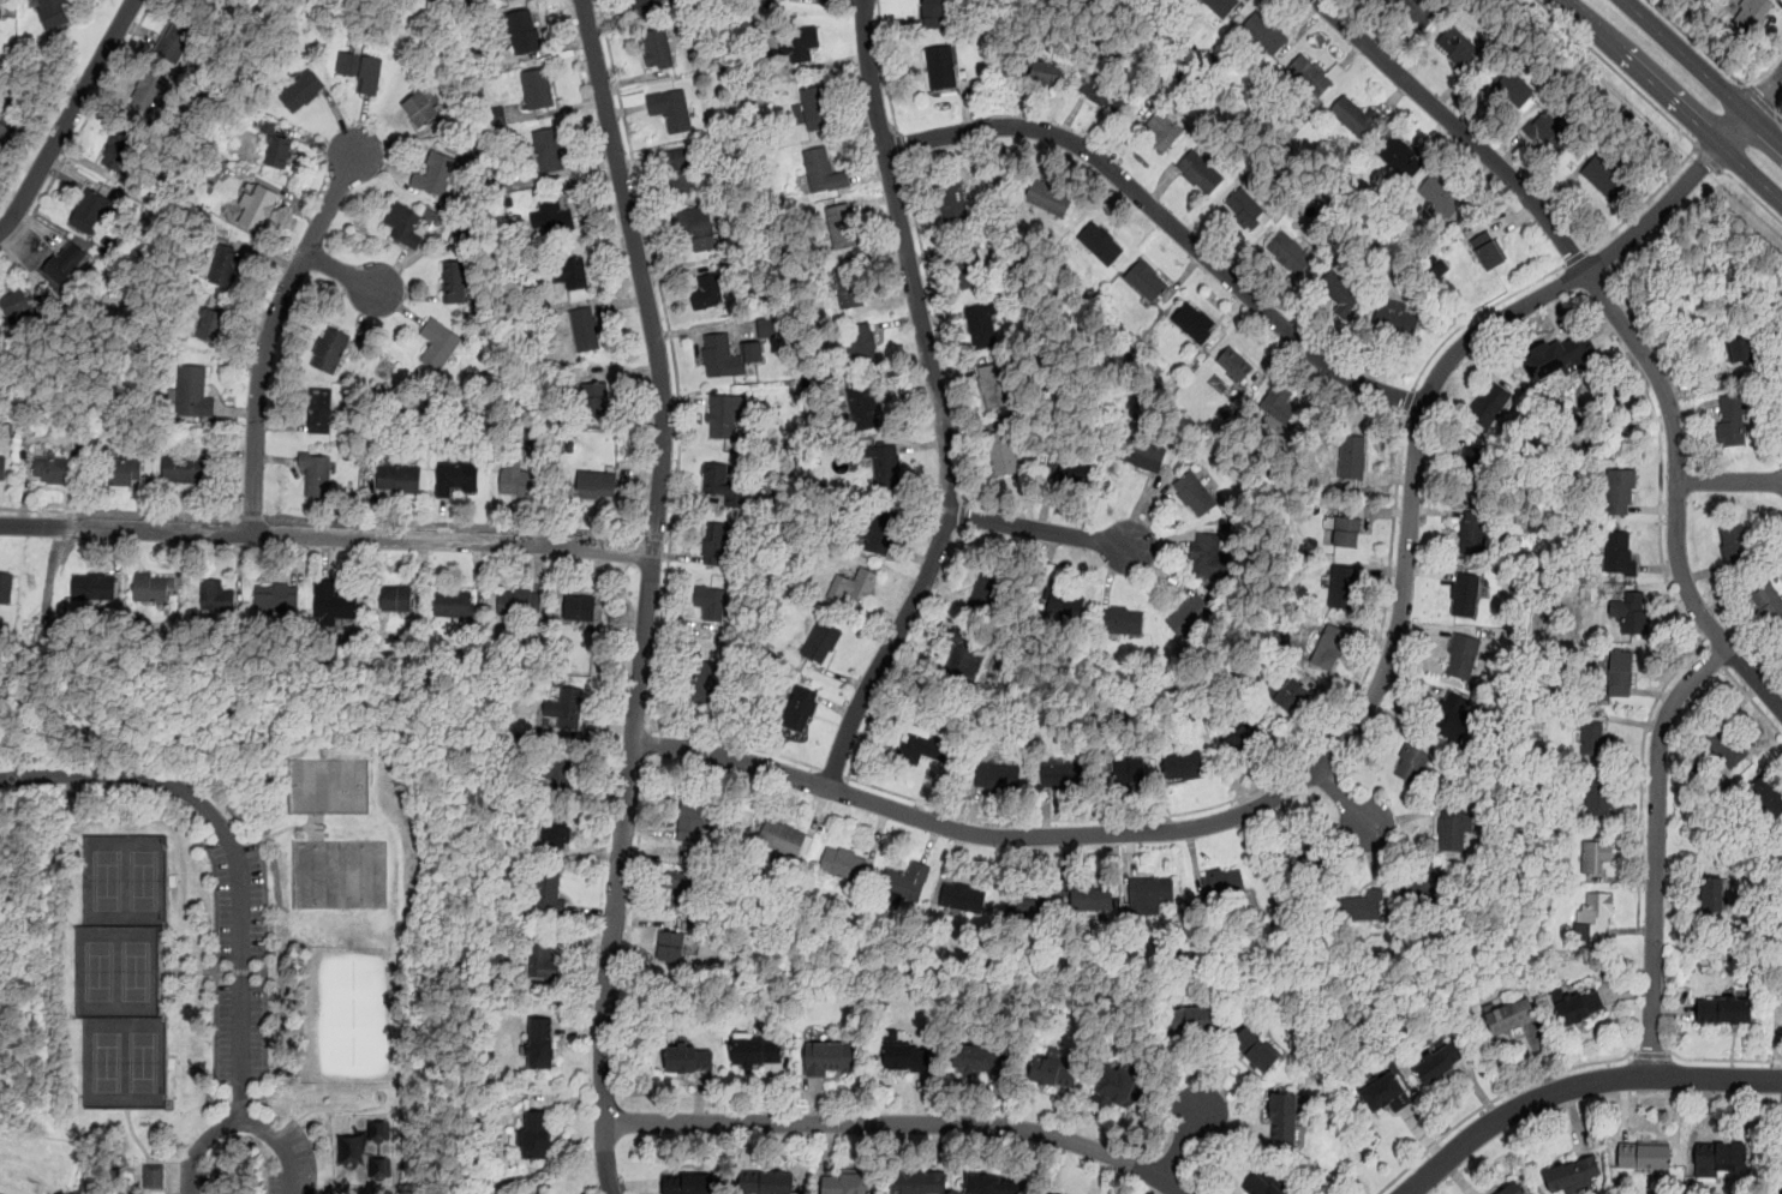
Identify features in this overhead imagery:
building: (208, 2)
building: (1220, 6)
building: (647, 7)
building: (1422, 8)
building: (1, 10)
building: (54, 13)
building: (933, 13)
building: (1752, 13)
building: (524, 32)
building: (1264, 32)
building: (175, 40)
building: (799, 41)
road: (1694, 41)
building: (1458, 44)
building: (658, 47)
building: (941, 66)
road: (884, 67)
road: (1765, 70)
building: (361, 71)
building: (1048, 72)
road: (1703, 72)
building: (1308, 76)
building: (1512, 85)
building: (536, 90)
building: (301, 91)
building: (1105, 91)
building: (149, 95)
road: (1673, 100)
road: (1759, 100)
building: (420, 108)
building: (815, 108)
building: (671, 109)
building: (1138, 114)
building: (1355, 116)
road: (68, 118)
road: (1780, 119)
road: (1674, 125)
building: (269, 127)
road: (82, 130)
building: (1549, 130)
building: (1162, 131)
road: (899, 145)
building: (118, 150)
building: (277, 151)
building: (549, 151)
building: (1399, 152)
road: (1708, 160)
building: (821, 169)
building: (683, 170)
building: (1198, 170)
building: (435, 175)
building: (1604, 178)
road: (1750, 192)
building: (1440, 194)
building: (1050, 198)
building: (952, 199)
building: (257, 209)
building: (89, 210)
building: (1248, 212)
building: (556, 217)
building: (403, 223)
road: (1167, 223)
building: (839, 226)
building: (695, 230)
building: (1100, 244)
building: (1487, 251)
building: (1291, 253)
building: (61, 258)
road: (1575, 258)
building: (965, 263)
building: (226, 269)
road: (339, 270)
building: (568, 275)
building: (1146, 280)
building: (454, 282)
building: (850, 286)
building: (707, 293)
building: (1341, 293)
building: (16, 304)
road: (1476, 314)
building: (1395, 317)
road: (1619, 319)
building: (1194, 323)
building: (980, 325)
building: (207, 326)
road: (271, 328)
building: (766, 328)
building: (584, 330)
road: (939, 330)
building: (860, 344)
building: (438, 346)
building: (330, 350)
building: (1740, 352)
building: (728, 355)
building: (1559, 356)
road: (674, 361)
building: (1233, 364)
road: (663, 367)
building: (993, 384)
building: (191, 391)
building: (594, 397)
road: (1407, 400)
building: (1279, 402)
building: (1488, 403)
road: (935, 404)
building: (863, 407)
building: (319, 412)
building: (722, 416)
building: (1732, 420)
building: (1001, 451)
building: (1142, 454)
building: (1351, 457)
building: (884, 462)
road: (1660, 463)
building: (1472, 468)
building: (2, 469)
building: (185, 469)
building: (50, 470)
building: (1074, 472)
building: (315, 473)
building: (124, 474)
building: (455, 476)
building: (399, 479)
building: (515, 479)
road: (1729, 482)
building: (597, 485)
building: (724, 486)
building: (1620, 491)
building: (1194, 494)
road: (120, 512)
road: (962, 516)
road: (252, 517)
road: (453, 523)
building: (879, 530)
road: (1037, 532)
building: (1347, 532)
building: (1472, 533)
road: (327, 535)
road: (657, 539)
building: (717, 544)
building: (1734, 545)
building: (1616, 552)
building: (1212, 557)
building: (92, 586)
building: (1343, 586)
building: (154, 587)
building: (854, 587)
building: (6, 588)
building: (986, 590)
building: (1465, 594)
building: (216, 595)
building: (276, 596)
building: (396, 599)
building: (1765, 599)
building: (333, 600)
building: (519, 602)
building: (710, 602)
building: (453, 605)
building: (1065, 605)
building: (580, 608)
building: (1633, 613)
building: (1188, 616)
building: (1122, 620)
building: (823, 641)
building: (1781, 646)
building: (1328, 647)
road: (903, 654)
building: (1463, 656)
road: (1716, 658)
building: (964, 659)
building: (1620, 673)
building: (705, 682)
building: (1291, 695)
road: (1369, 700)
road: (1751, 702)
building: (569, 707)
building: (800, 708)
building: (1452, 718)
building: (1596, 739)
road: (735, 740)
road: (648, 743)
building: (1245, 744)
building: (1727, 746)
building: (920, 748)
building: (1411, 764)
building: (1184, 766)
building: (560, 769)
road: (832, 772)
building: (1124, 772)
building: (1064, 775)
road: (1642, 775)
building: (997, 776)
park: (328, 782)
road: (1261, 787)
building: (1768, 793)
road: (1344, 797)
building: (1598, 798)
building: (689, 820)
building: (1453, 828)
building: (556, 829)
building: (782, 838)
building: (1300, 850)
road: (1656, 850)
road: (234, 851)
road: (638, 854)
building: (1595, 856)
building: (844, 864)
park: (339, 872)
park: (108, 878)
park: (144, 878)
building: (907, 882)
building: (1224, 882)
building: (1423, 884)
building: (680, 886)
building: (549, 890)
building: (1711, 894)
building: (1149, 895)
building: (963, 898)
building: (1092, 898)
building: (1028, 899)
building: (1363, 904)
building: (1593, 917)
park: (240, 926)
road: (611, 931)
building: (675, 944)
parking lot: (245, 955)
building: (540, 961)
park: (136, 968)
park: (101, 970)
building: (1581, 1007)
building: (1724, 1010)
park: (352, 1012)
building: (1509, 1015)
building: (1192, 1020)
building: (540, 1044)
building: (1256, 1050)
building: (758, 1051)
road: (1652, 1055)
building: (830, 1057)
building: (907, 1057)
building: (689, 1058)
road: (1720, 1060)
park: (108, 1061)
building: (981, 1061)
building: (1441, 1061)
park: (144, 1062)
building: (1052, 1072)
road: (1578, 1085)
building: (1119, 1086)
building: (1385, 1094)
road: (1497, 1098)
road: (241, 1120)
building: (1284, 1120)
road: (896, 1124)
building: (537, 1135)
road: (1178, 1145)
park: (367, 1150)
building: (1644, 1157)
building: (1722, 1157)
road: (604, 1158)
park: (1776, 1158)
parking lot: (294, 1162)
park: (35, 1163)
building: (1573, 1175)
building: (154, 1177)
parking lot: (199, 1178)
building: (920, 1182)
building: (767, 1183)
building: (845, 1183)
building: (689, 1184)
building: (991, 1184)
building: (1263, 1184)
building: (1511, 1189)
building: (1054, 1193)

